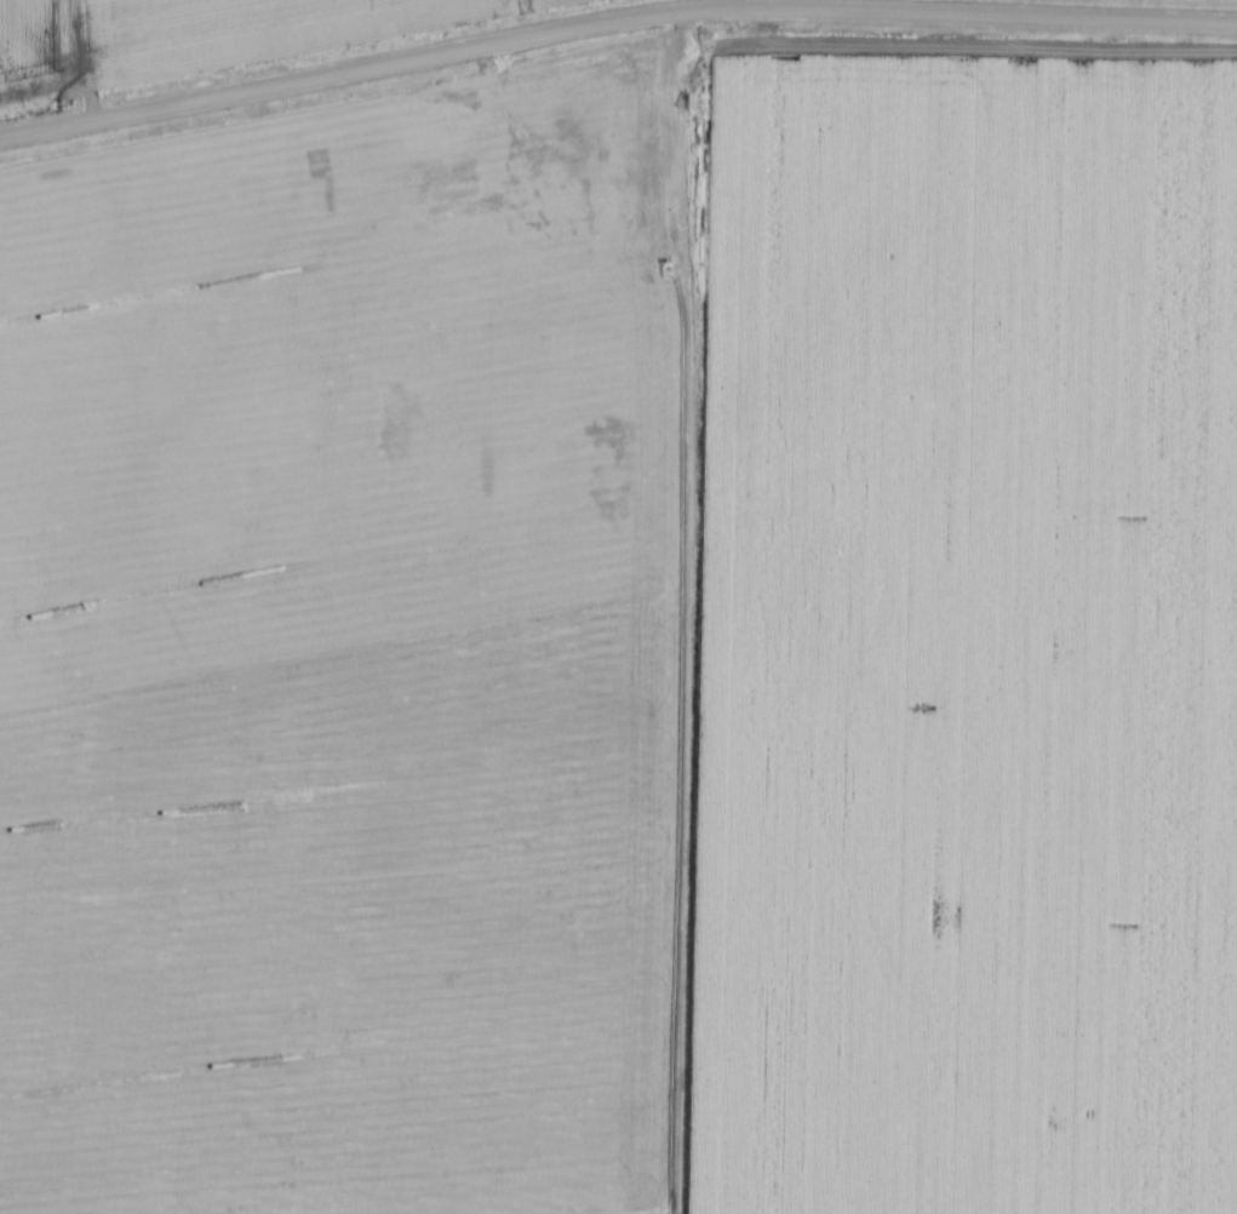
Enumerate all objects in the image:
road: (613, 19)
crop: (197, 38)
road: (574, 159)
building: (560, 204)
building: (607, 287)
crop: (634, 666)

